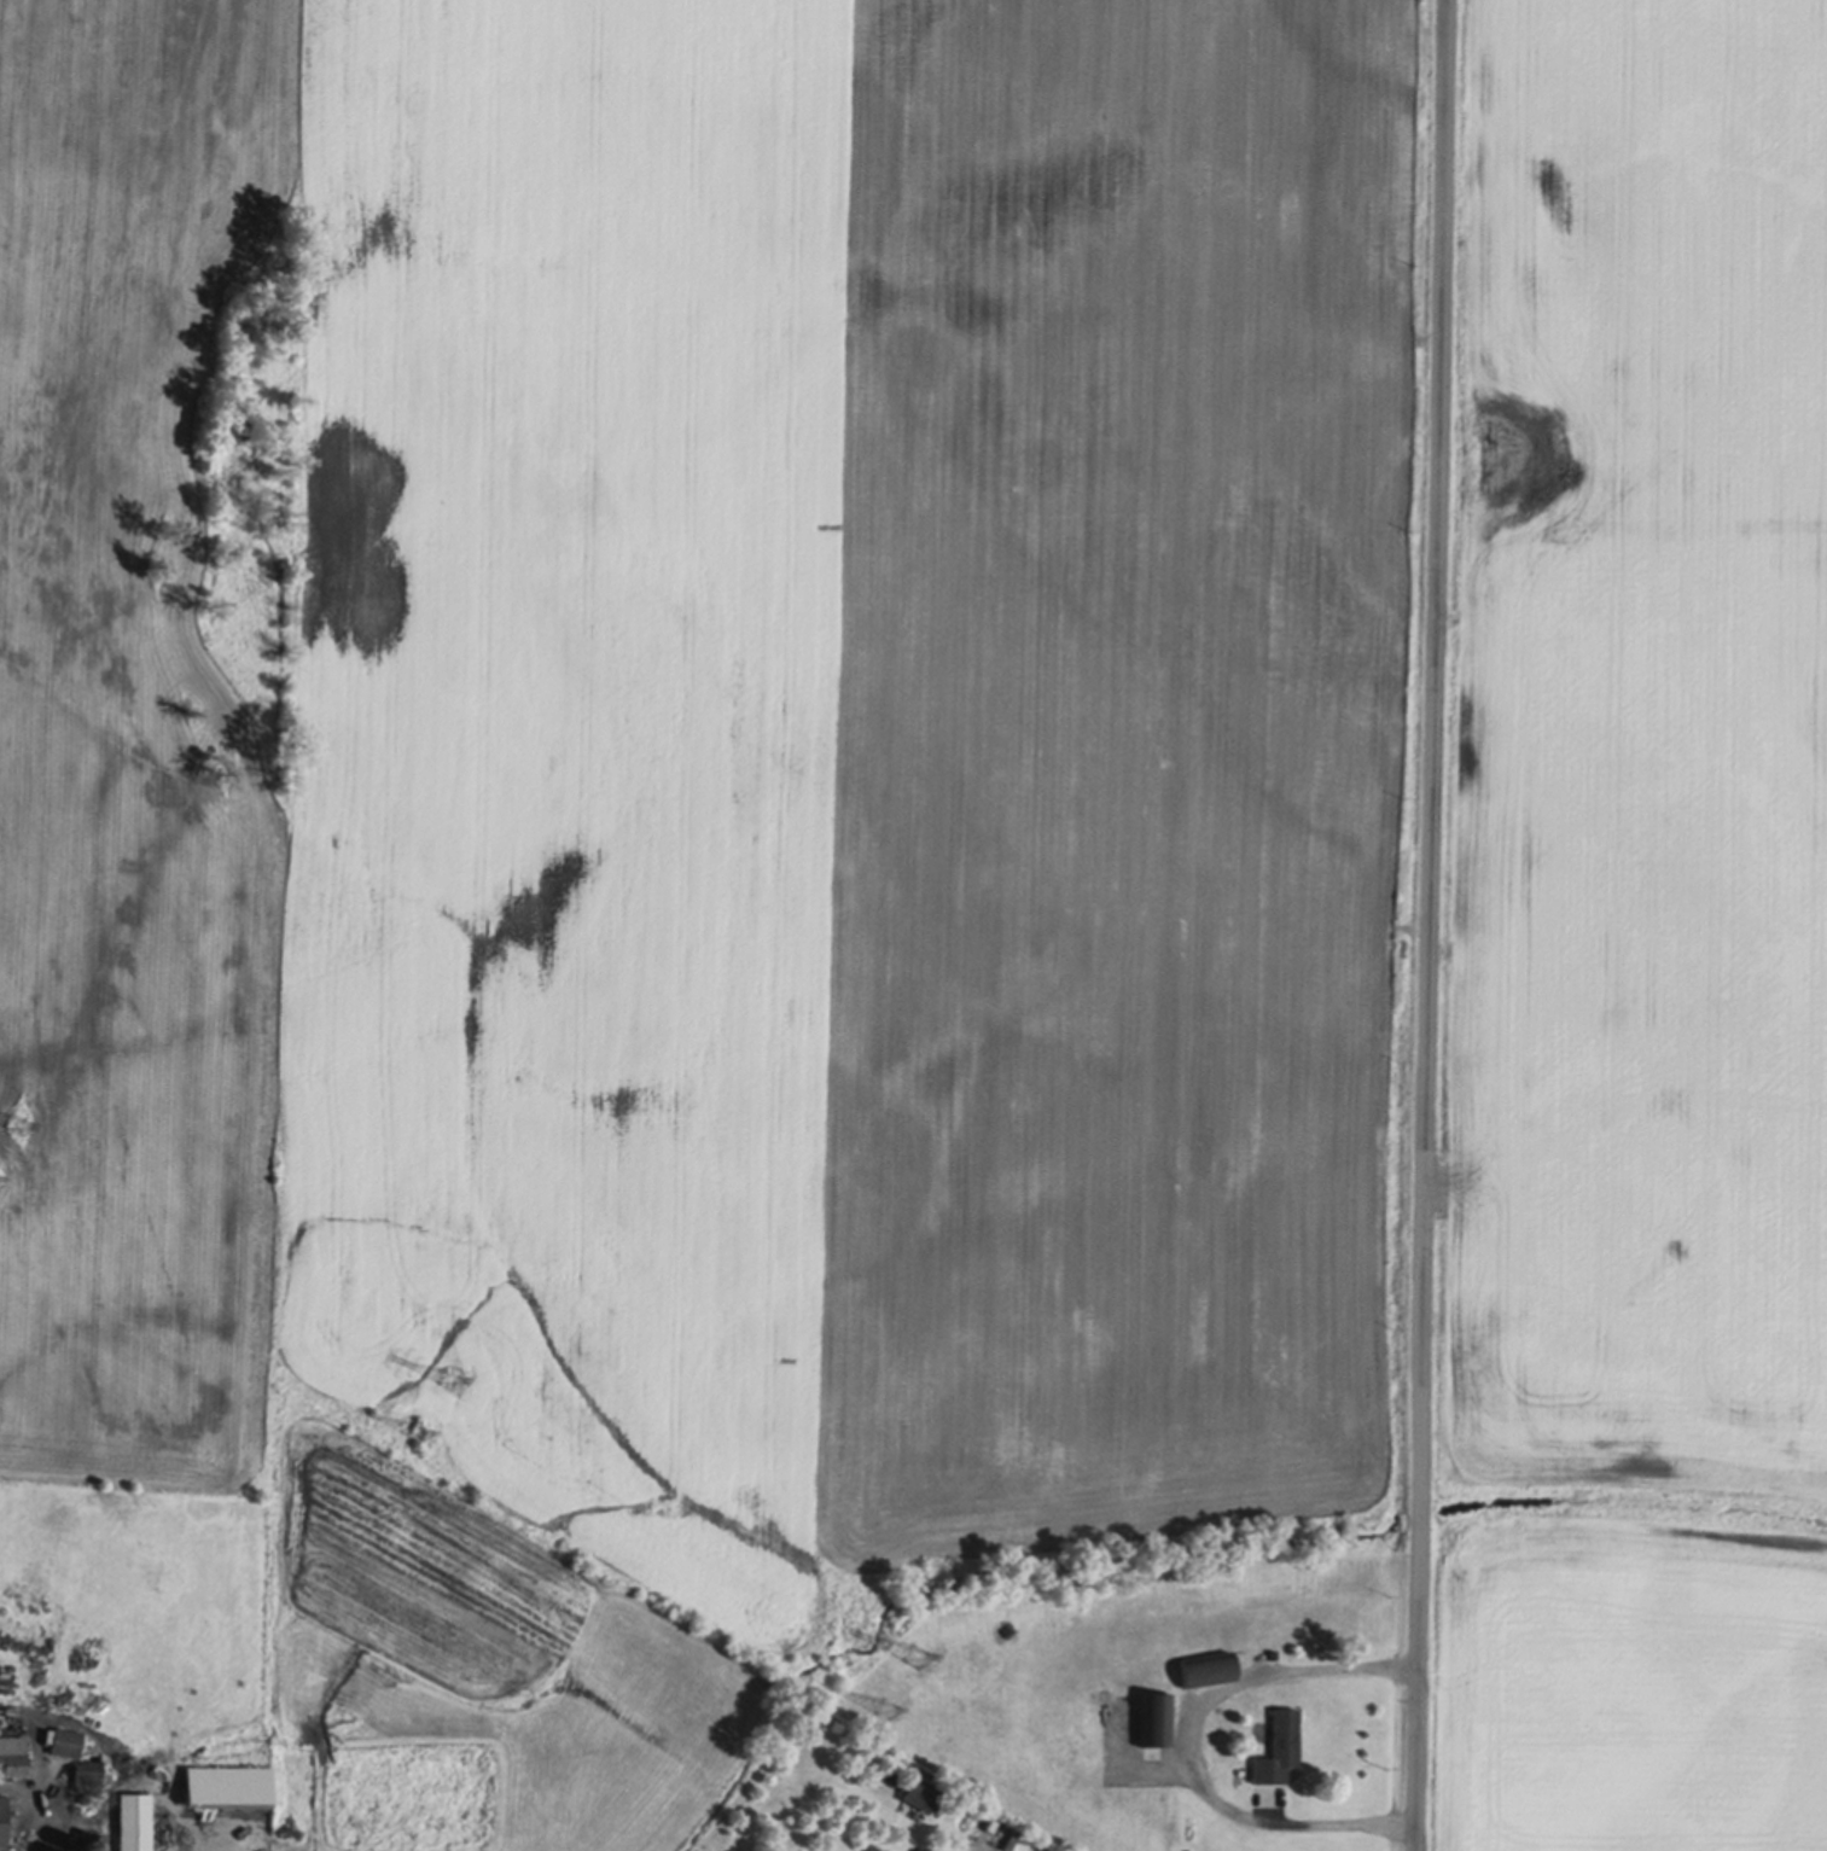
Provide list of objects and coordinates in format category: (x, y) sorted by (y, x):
road: (1431, 925)
power tower: (12, 1128)
power tower: (446, 1385)
power tower: (409, 1433)
power tower: (909, 1659)
building: (1205, 1659)
power tower: (879, 1710)
building: (1154, 1711)
building: (1278, 1741)
road: (1181, 1747)
building: (13, 1751)
building: (87, 1775)
building: (228, 1782)
building: (920, 1789)
building: (962, 1805)
road: (31, 1811)
building: (2, 1815)
building: (134, 1820)
building: (88, 1844)

